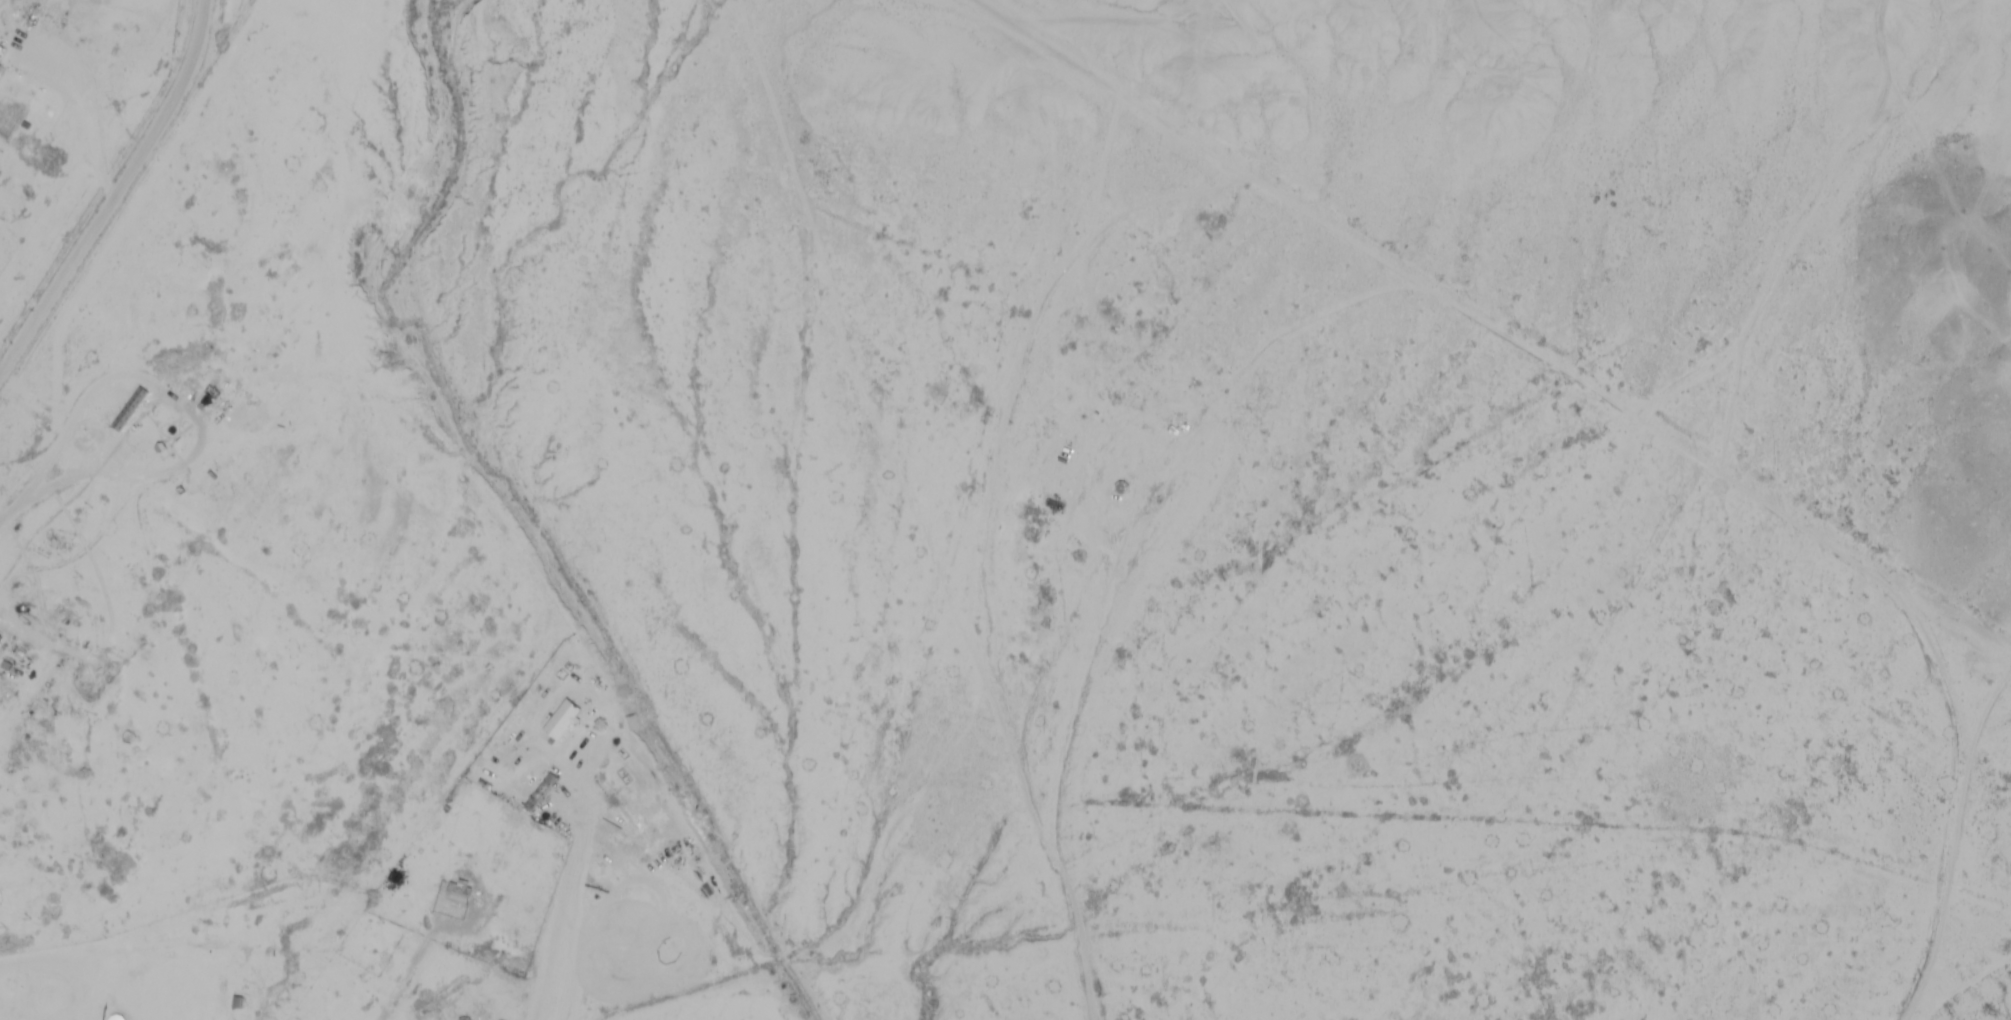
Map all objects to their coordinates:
building: (1, 50)
building: (0, 66)
road: (118, 195)
road: (1807, 236)
building: (130, 409)
road: (1633, 410)
building: (0, 638)
building: (560, 720)
building: (457, 892)
building: (4, 896)
road: (177, 937)
road: (472, 947)
road: (1966, 983)
building: (238, 1002)

